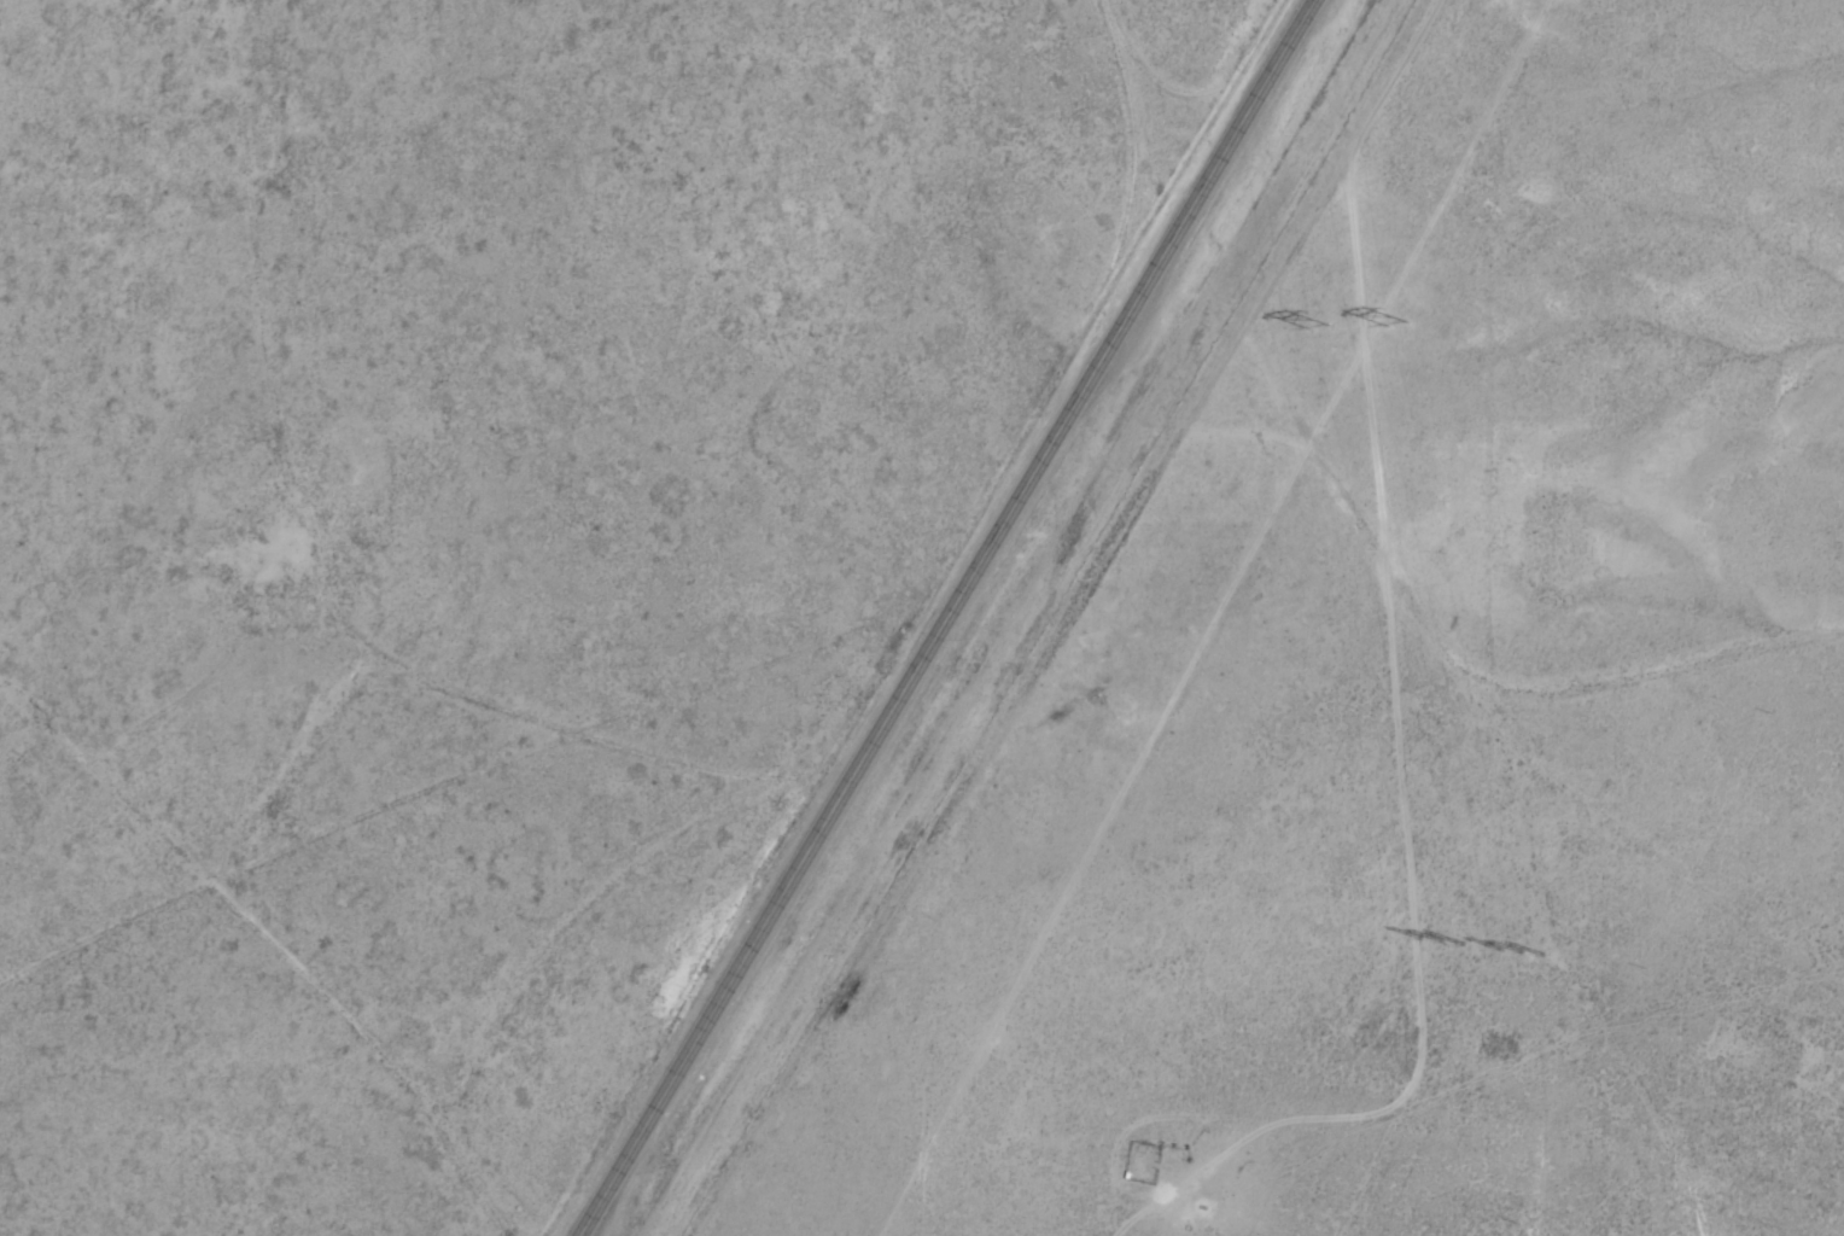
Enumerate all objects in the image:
power tower: (1394, 326)
power tower: (1313, 327)
road: (950, 617)
power tower: (1443, 940)
power tower: (1517, 952)

